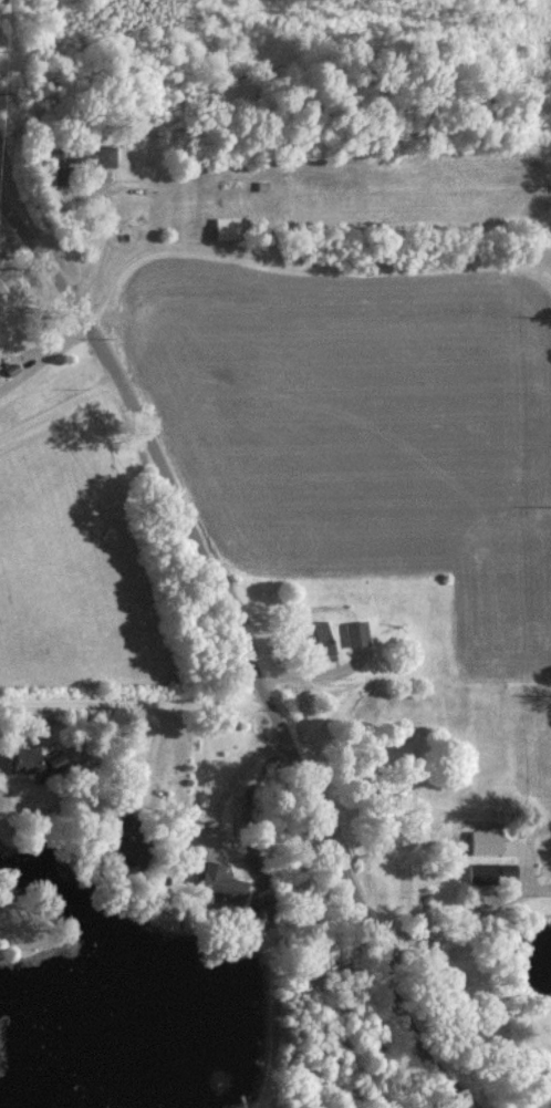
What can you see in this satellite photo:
building: (84, 155)
building: (227, 227)
road: (300, 263)
road: (43, 355)
road: (59, 405)
building: (357, 633)
building: (319, 639)
road: (243, 650)
road: (300, 677)
road: (133, 697)
building: (25, 759)
building: (54, 760)
road: (225, 787)
building: (490, 872)
building: (220, 883)
road: (464, 922)

